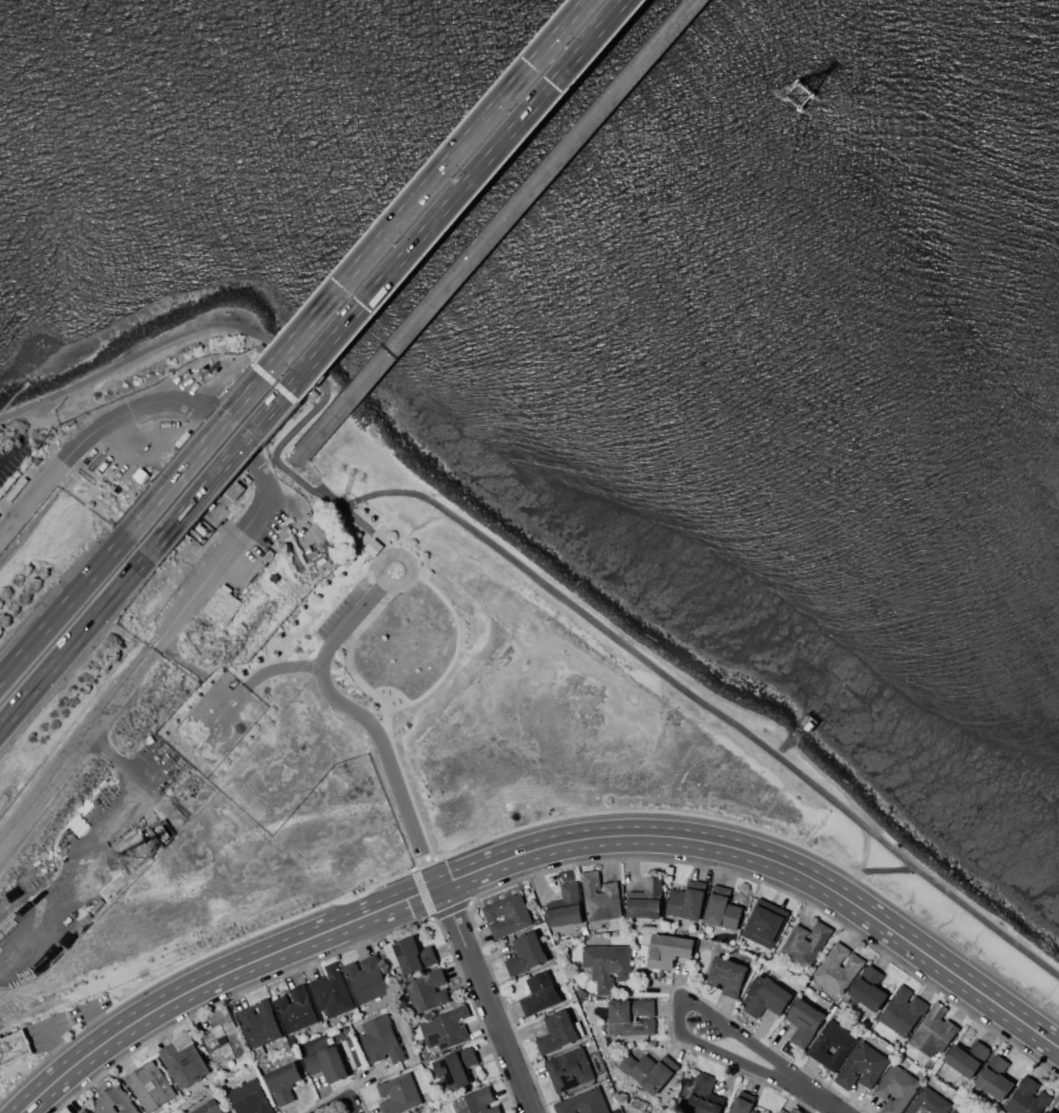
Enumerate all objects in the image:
pier: (796, 94)
power tower: (800, 98)
road: (493, 227)
pier: (495, 227)
road: (358, 266)
road: (389, 276)
road: (10, 450)
parking lot: (13, 462)
road: (312, 475)
road: (249, 528)
building: (372, 546)
building: (222, 603)
road: (63, 607)
parking lot: (345, 614)
road: (75, 640)
road: (279, 666)
road: (367, 720)
road: (769, 832)
power tower: (143, 856)
road: (769, 858)
road: (677, 860)
road: (423, 861)
building: (599, 896)
building: (645, 900)
building: (686, 900)
building: (565, 906)
building: (722, 908)
road: (428, 913)
building: (506, 915)
building: (764, 922)
building: (804, 944)
building: (668, 950)
road: (330, 954)
building: (526, 954)
building: (412, 955)
road: (194, 958)
building: (607, 965)
building: (838, 967)
building: (727, 975)
road: (213, 977)
building: (365, 978)
road: (679, 984)
building: (427, 990)
building: (330, 991)
building: (539, 993)
building: (869, 993)
building: (766, 996)
road: (484, 999)
road: (677, 1007)
building: (295, 1008)
building: (902, 1012)
building: (632, 1016)
building: (804, 1022)
building: (260, 1023)
building: (445, 1028)
building: (934, 1031)
building: (556, 1032)
building: (380, 1039)
building: (223, 1042)
building: (832, 1044)
building: (13, 1048)
building: (968, 1057)
building: (184, 1060)
building: (327, 1063)
building: (456, 1066)
building: (862, 1066)
building: (569, 1069)
building: (647, 1072)
building: (283, 1083)
building: (993, 1083)
building: (162, 1088)
road: (338, 1088)
building: (895, 1089)
building: (398, 1093)
road: (814, 1096)
road: (337, 1097)
building: (1026, 1097)
building: (249, 1098)
building: (113, 1100)
building: (476, 1101)
building: (582, 1103)
building: (928, 1103)
building: (701, 1105)
building: (741, 1105)
building: (209, 1108)
building: (1051, 1110)
building: (83, 1111)
building: (793, 1111)
building: (958, 1111)

